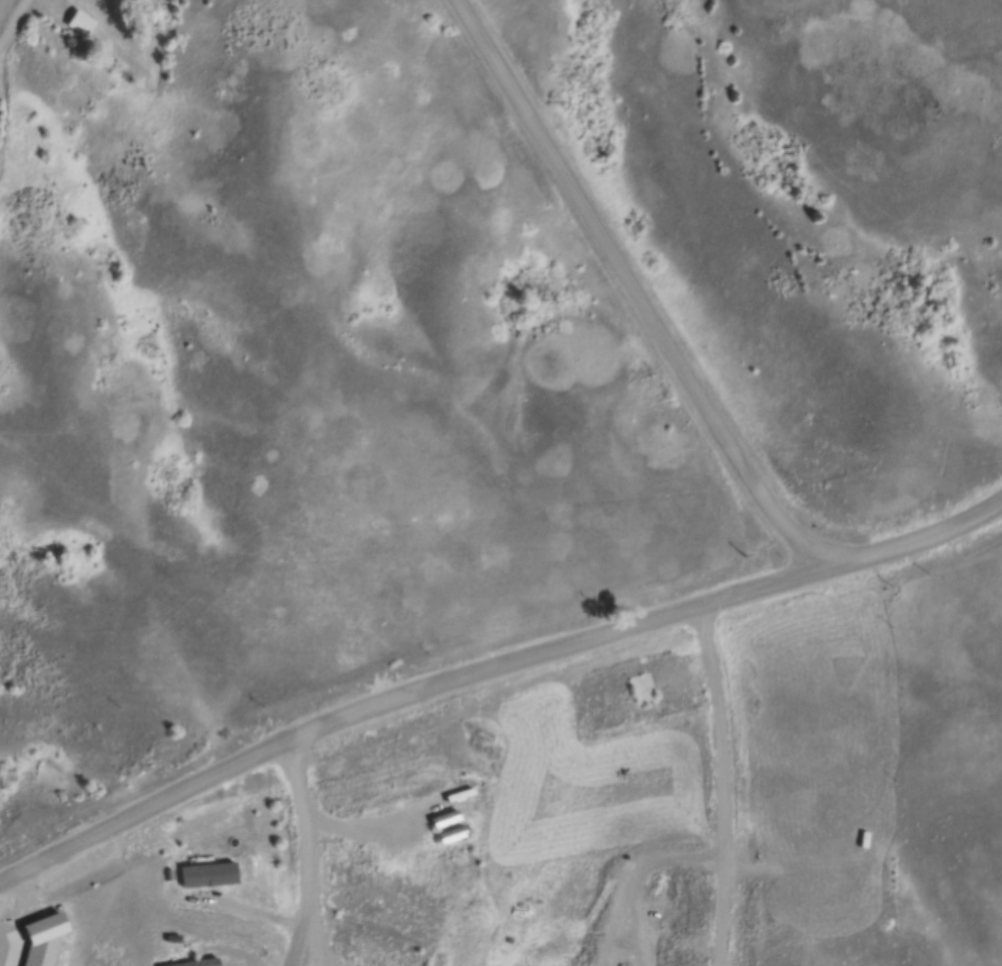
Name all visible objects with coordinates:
building: (72, 20)
road: (15, 26)
road: (633, 292)
road: (489, 671)
building: (641, 689)
building: (450, 827)
road: (310, 853)
building: (214, 876)
building: (208, 963)

